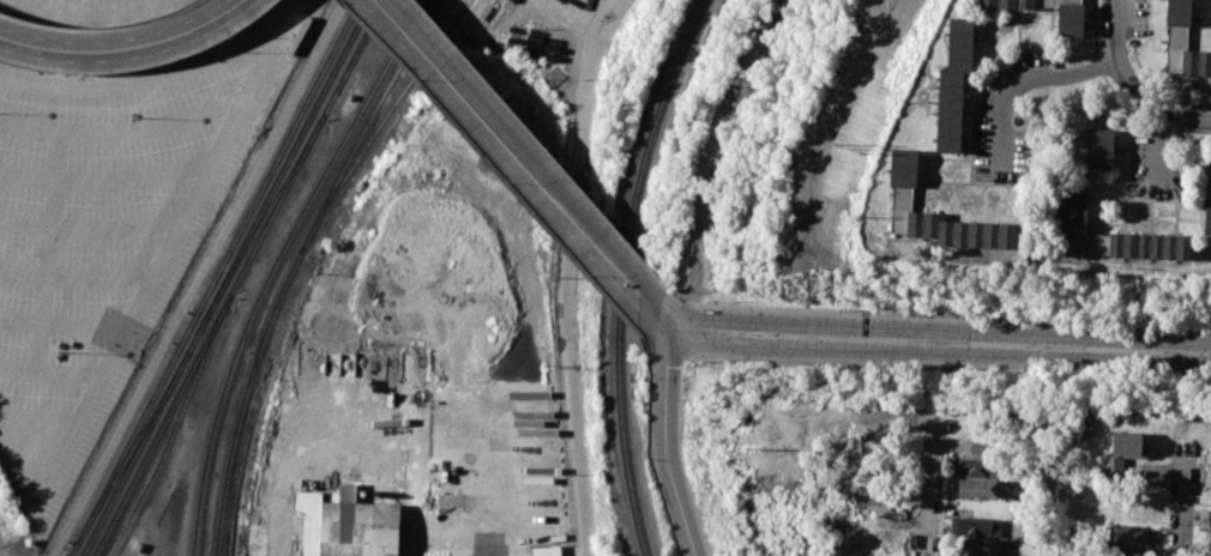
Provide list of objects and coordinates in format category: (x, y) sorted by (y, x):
street lamp: (335, 0)
road: (135, 4)
road: (73, 7)
road: (92, 13)
building: (1070, 23)
railway: (420, 26)
railway: (421, 26)
building: (1183, 41)
railway: (362, 44)
road: (123, 48)
street lamp: (459, 53)
road: (141, 79)
street lamp: (420, 84)
building: (953, 85)
road: (1035, 86)
road: (1133, 86)
street lamp: (135, 117)
railway: (380, 122)
road: (23, 127)
road: (122, 131)
power tower: (849, 147)
building: (1098, 147)
road: (1153, 150)
road: (510, 151)
street lamp: (549, 155)
road: (26, 176)
road: (134, 177)
street lamp: (511, 187)
parking lot: (109, 197)
building: (900, 199)
building: (1207, 205)
railway: (264, 218)
road: (24, 224)
road: (116, 229)
building: (1116, 236)
street lamp: (629, 248)
road: (47, 252)
road: (162, 259)
railway: (277, 265)
railway: (620, 272)
road: (22, 273)
road: (570, 274)
road: (100, 278)
road: (195, 278)
railway: (213, 278)
railway: (225, 278)
railway: (239, 278)
street lamp: (592, 278)
railway: (282, 294)
street lamp: (709, 301)
road: (665, 315)
road: (19, 321)
road: (84, 325)
road: (947, 330)
street lamp: (809, 340)
street lamp: (927, 346)
road: (947, 350)
street lamp: (1044, 351)
street lamp: (60, 352)
street lamp: (1162, 355)
street lamp: (704, 363)
road: (18, 369)
road: (68, 375)
street lamp: (681, 400)
road: (40, 417)
building: (1086, 425)
railway: (175, 427)
road: (668, 441)
building: (1127, 442)
railway: (132, 447)
power tower: (759, 447)
building: (980, 448)
building: (974, 466)
building: (1113, 467)
road: (502, 476)
road: (14, 484)
road: (930, 485)
building: (977, 488)
street lamp: (692, 491)
road: (1182, 500)
building: (873, 503)
building: (1209, 518)
building: (345, 524)
building: (976, 526)
building: (1128, 533)
building: (1210, 538)
building: (981, 546)
building: (546, 550)
building: (1126, 551)
building: (1210, 554)

